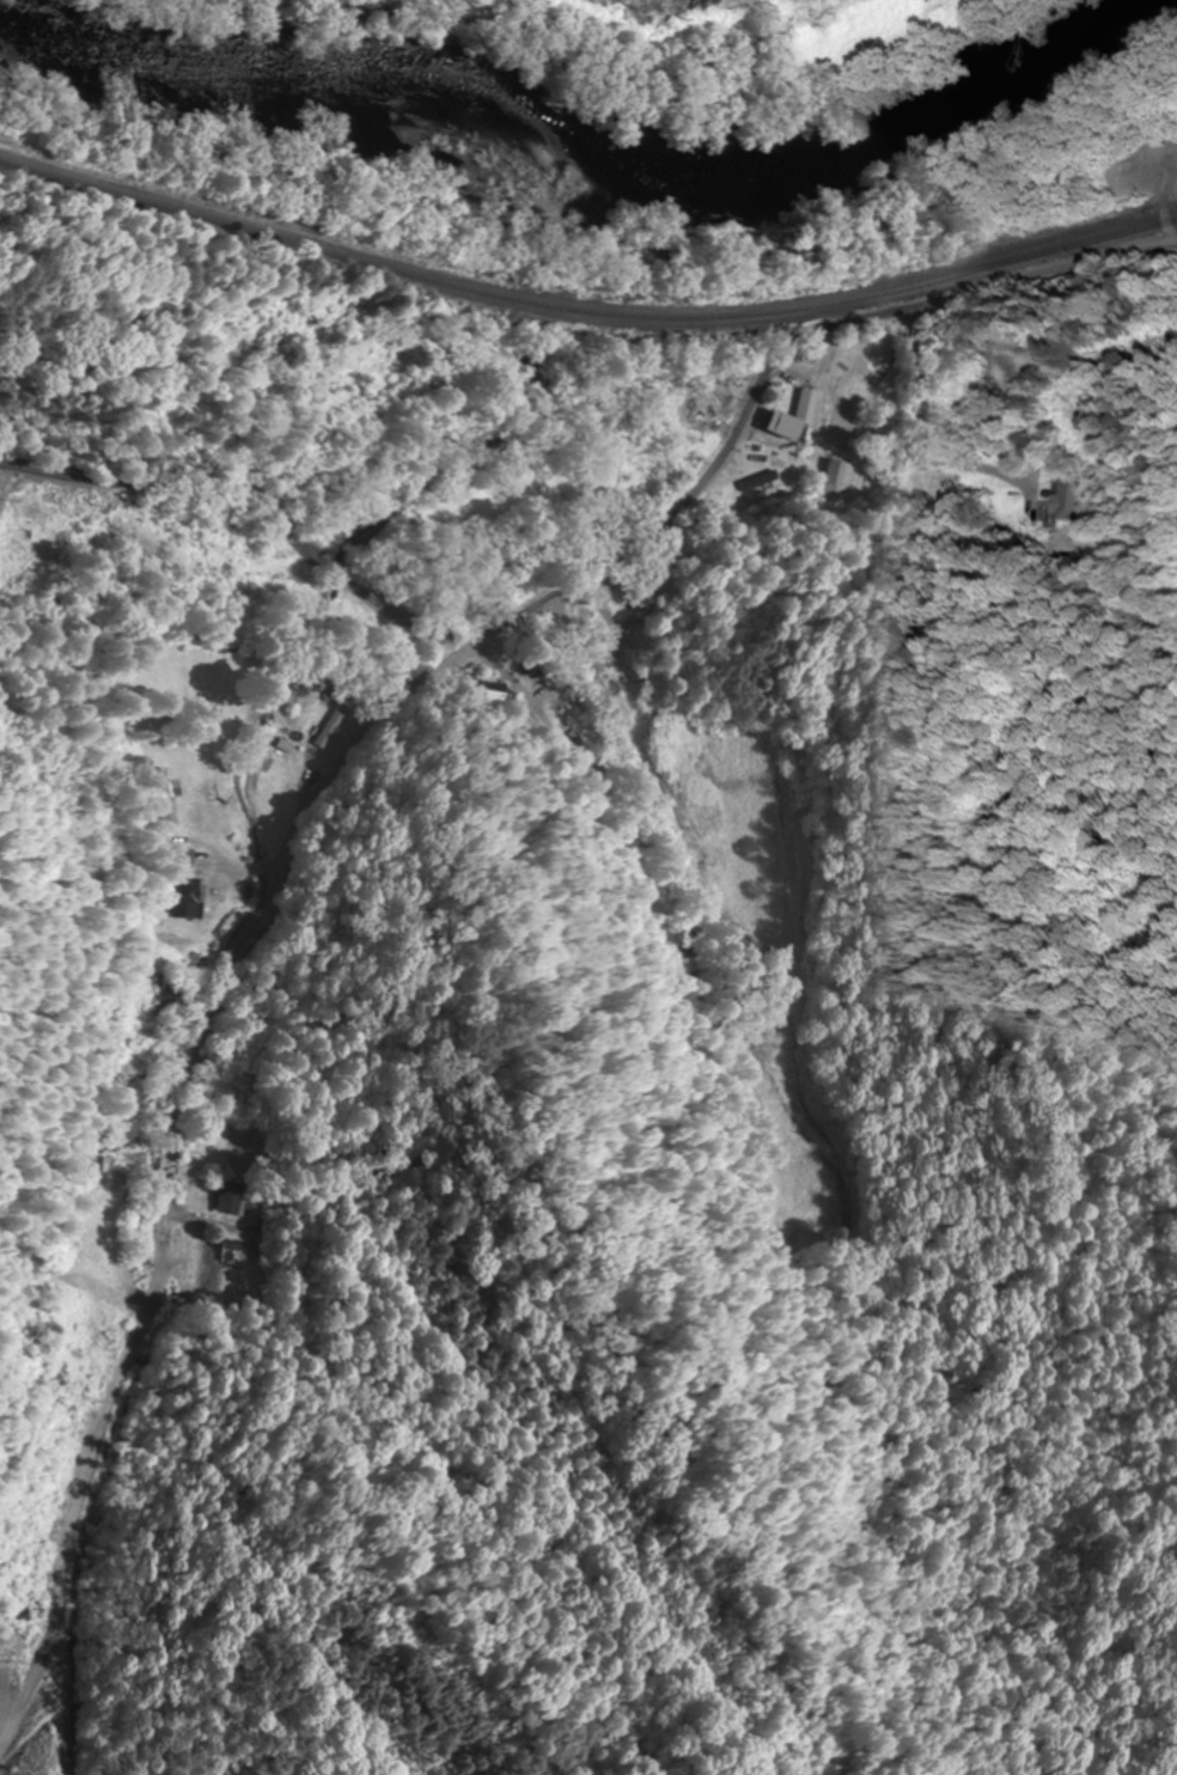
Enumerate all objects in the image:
river: (569, 166)
road: (1171, 208)
railway: (585, 312)
road: (976, 380)
building: (785, 419)
road: (328, 429)
road: (260, 490)
building: (1074, 498)
road: (334, 781)
building: (189, 903)
building: (183, 958)
building: (227, 1198)
building: (226, 1251)

